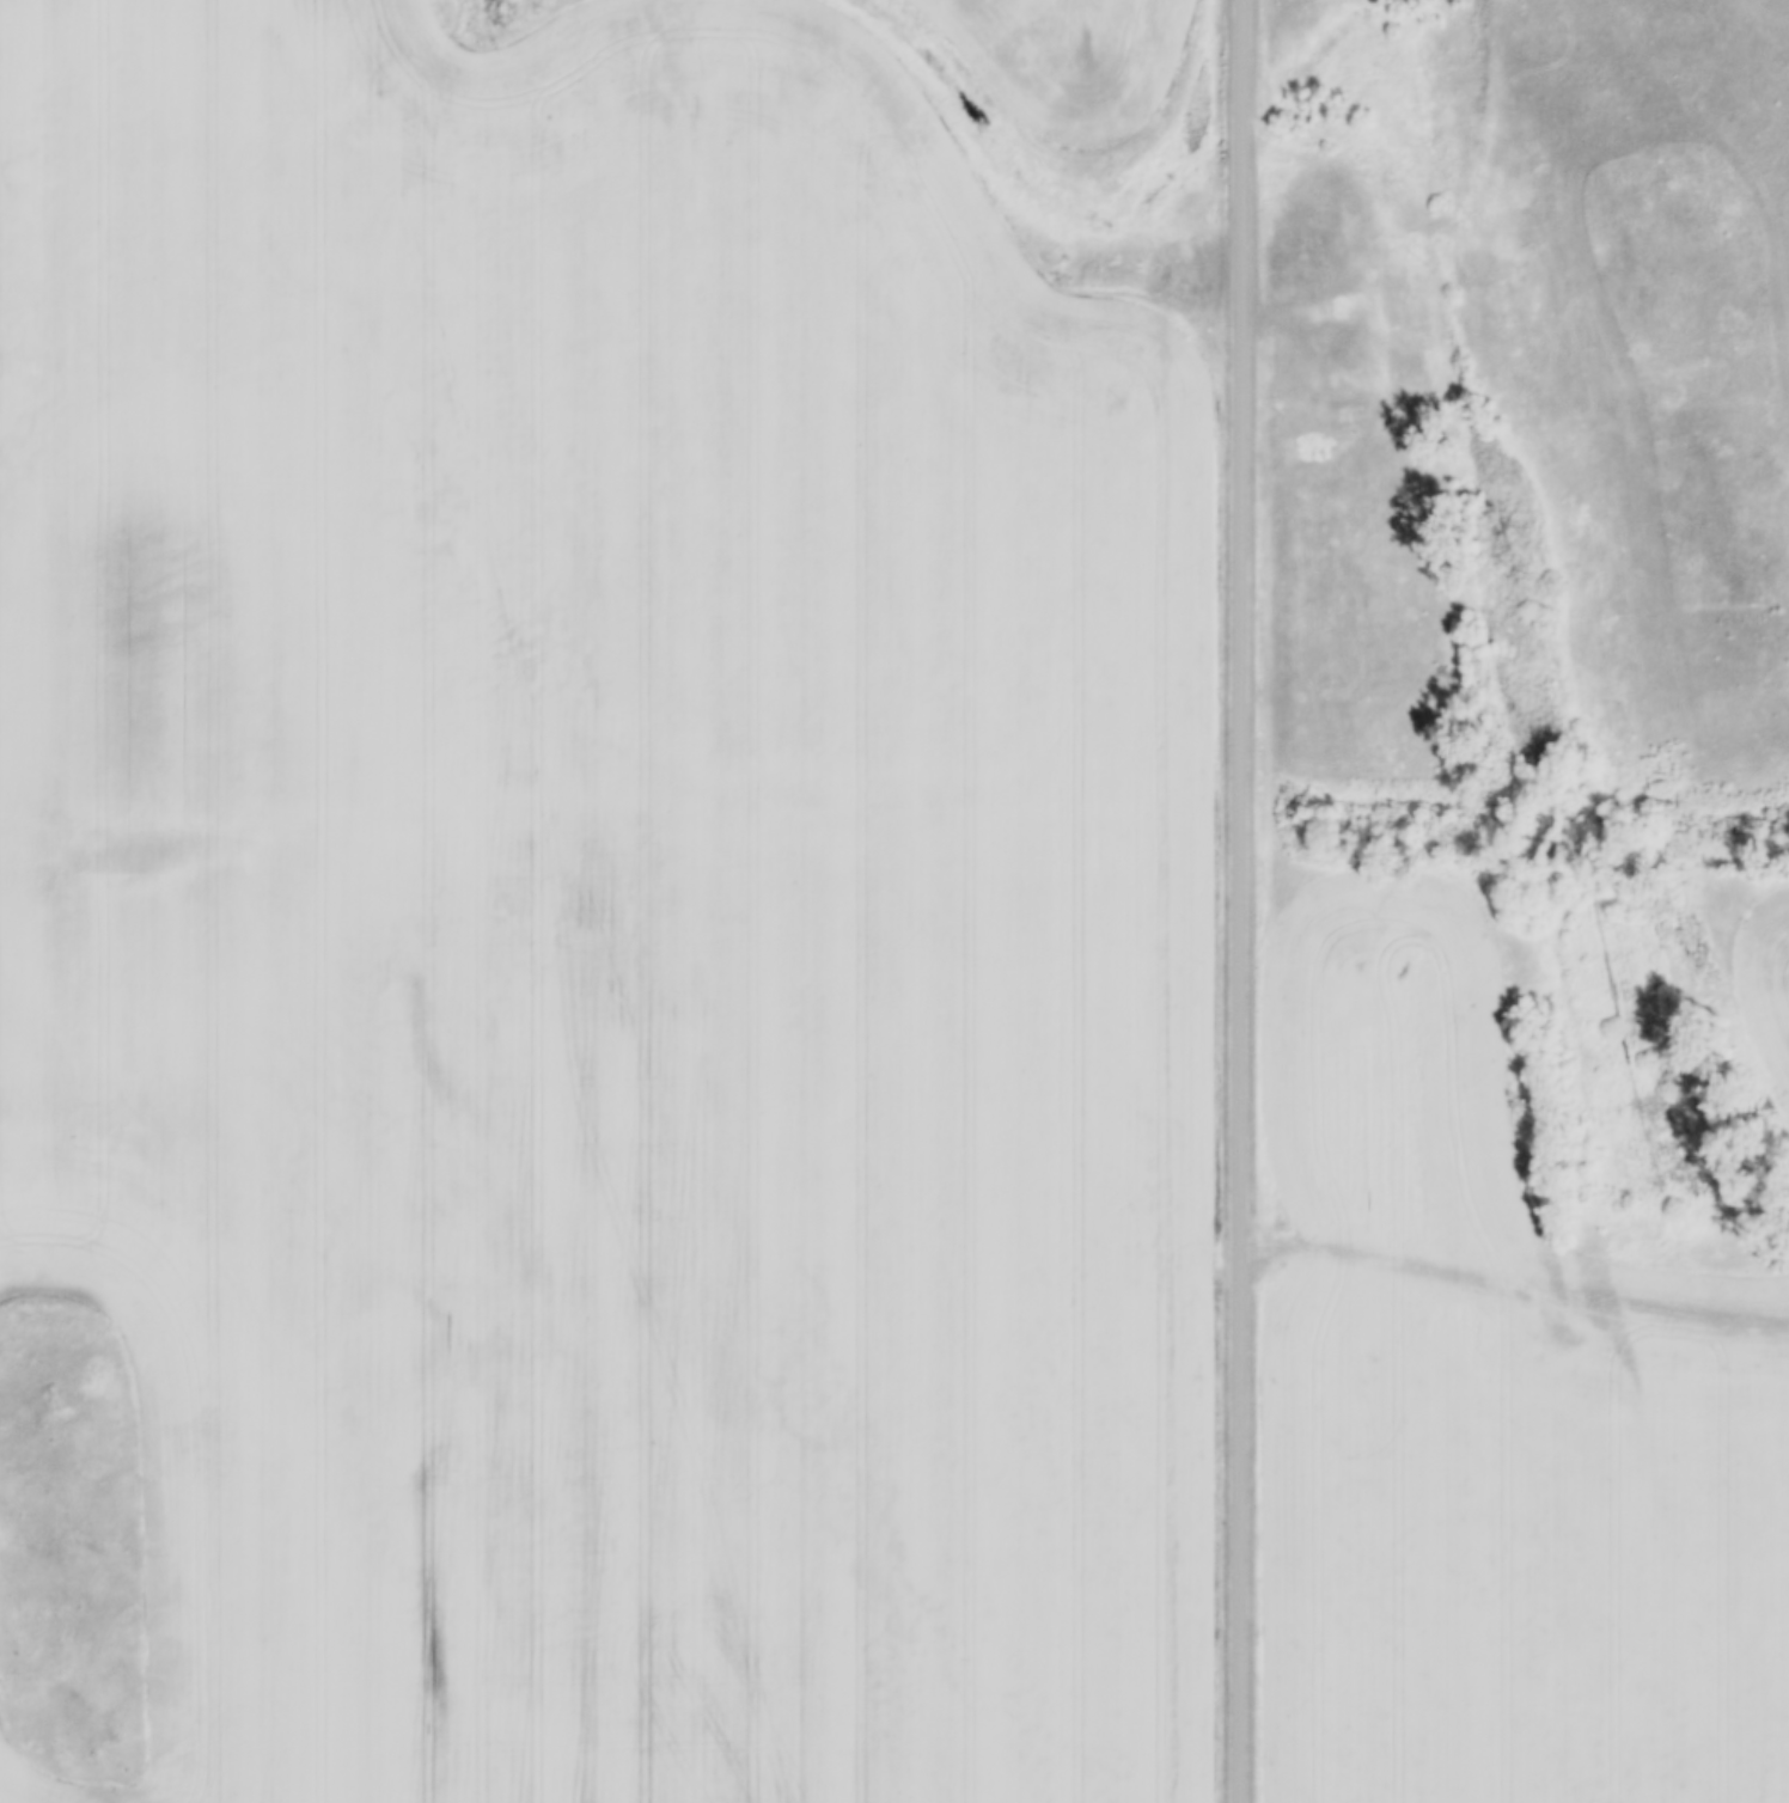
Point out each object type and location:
road: (1241, 900)

